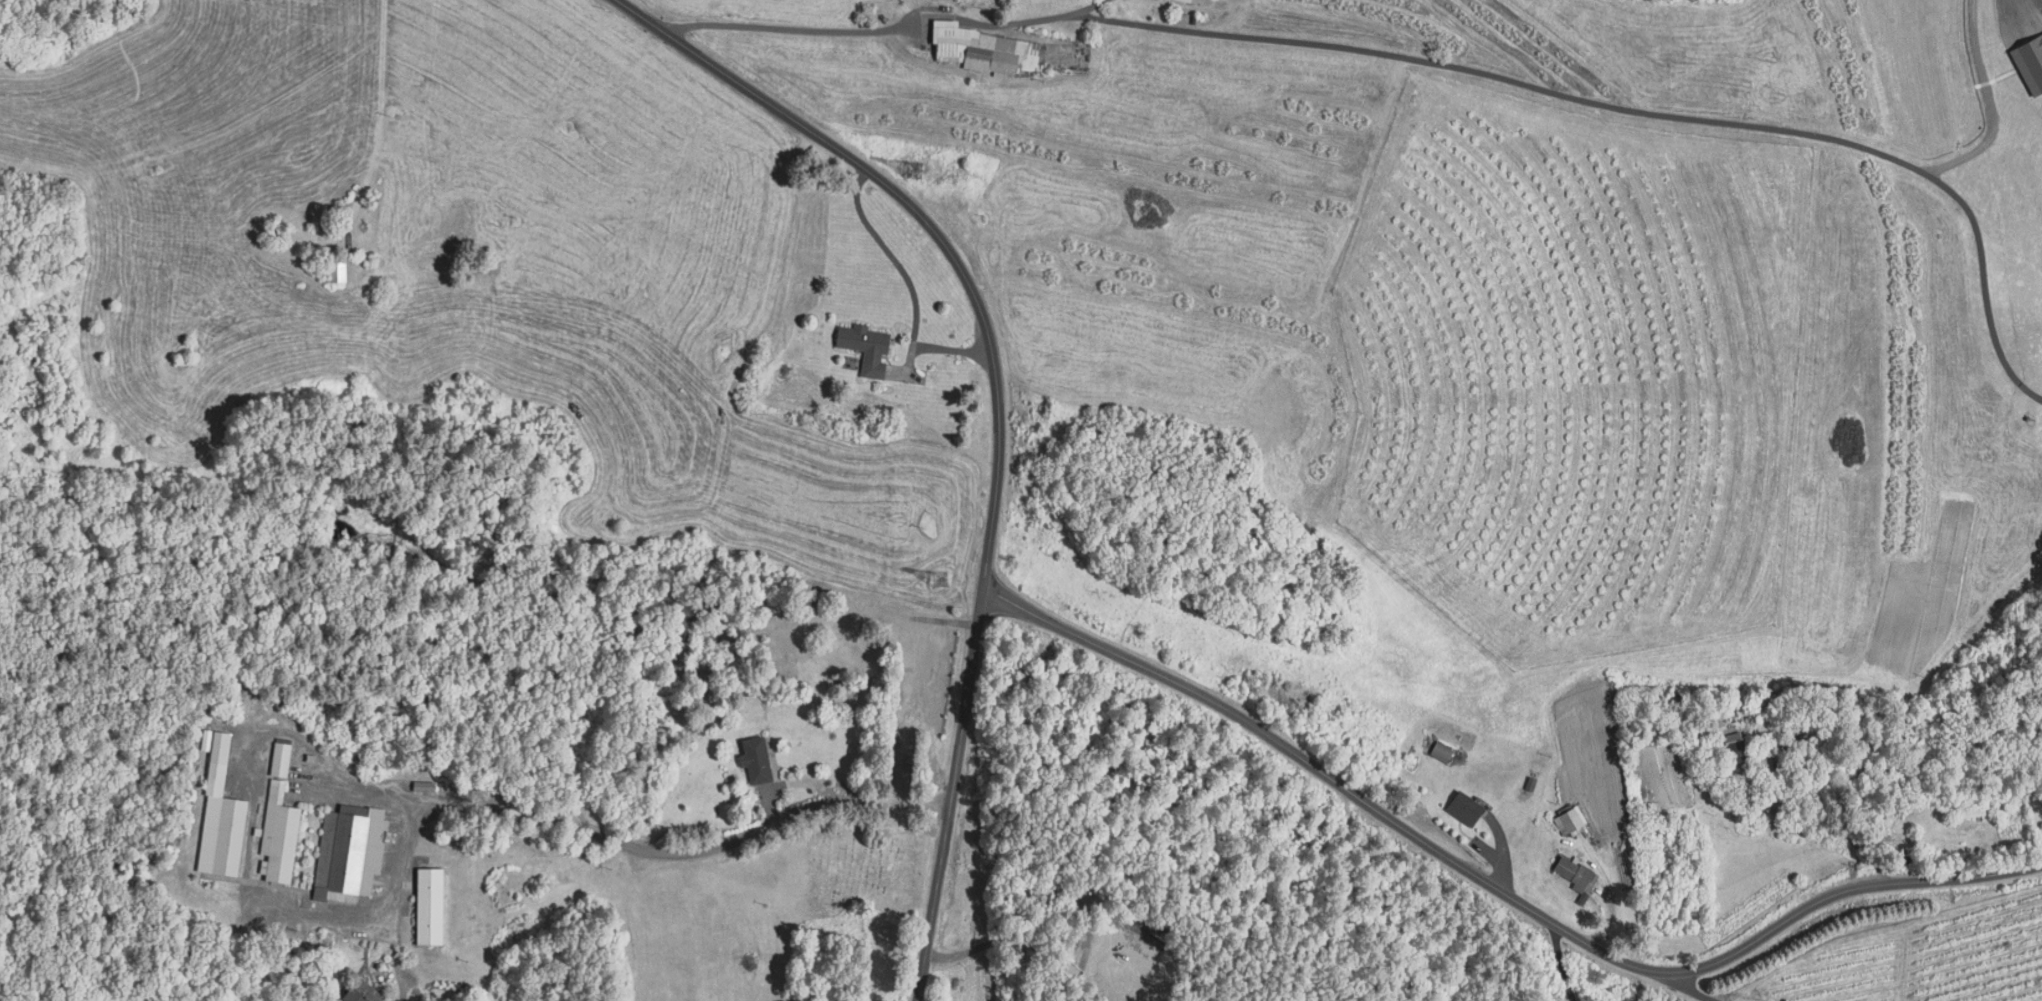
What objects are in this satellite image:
building: (1191, 1)
building: (983, 49)
building: (2030, 62)
road: (1431, 63)
road: (378, 124)
power tower: (915, 170)
building: (337, 269)
road: (911, 286)
building: (867, 345)
road: (999, 414)
power tower: (943, 580)
building: (1742, 711)
building: (206, 739)
building: (1736, 747)
building: (1442, 750)
building: (281, 757)
building: (756, 757)
building: (1530, 784)
building: (425, 785)
building: (1464, 807)
building: (1974, 812)
building: (221, 814)
building: (1573, 820)
building: (278, 832)
road: (623, 840)
building: (348, 850)
park: (870, 869)
building: (1575, 875)
road: (1495, 884)
building: (430, 905)
road: (1563, 962)
road: (399, 969)
road: (1688, 989)
building: (362, 992)

